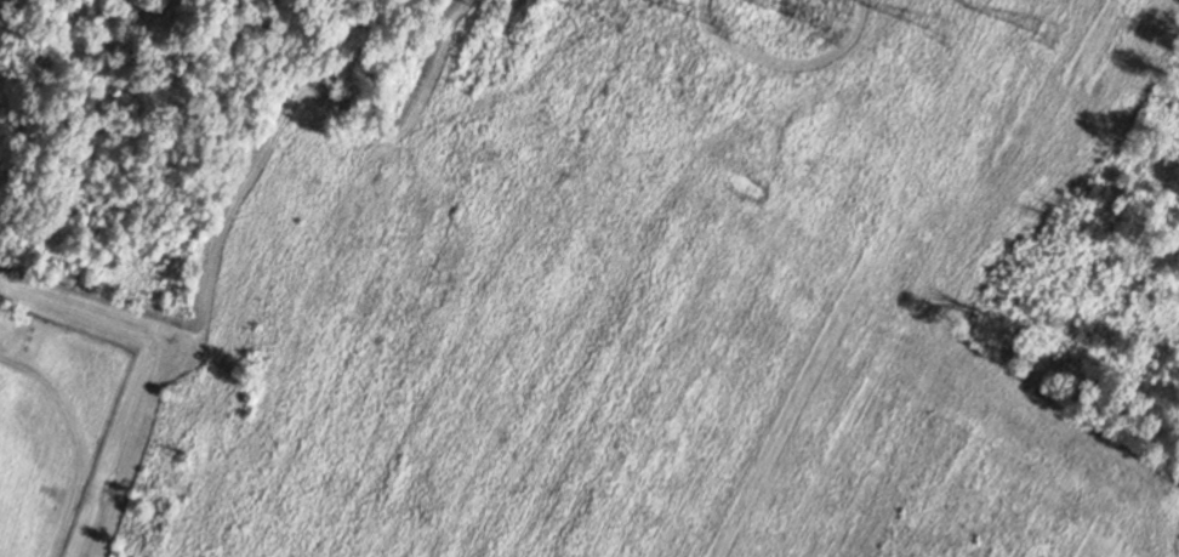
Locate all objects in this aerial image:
power tower: (509, 11)
power tower: (616, 18)
power tower: (723, 21)
power tower: (833, 23)
power tower: (1046, 28)
power tower: (942, 52)

